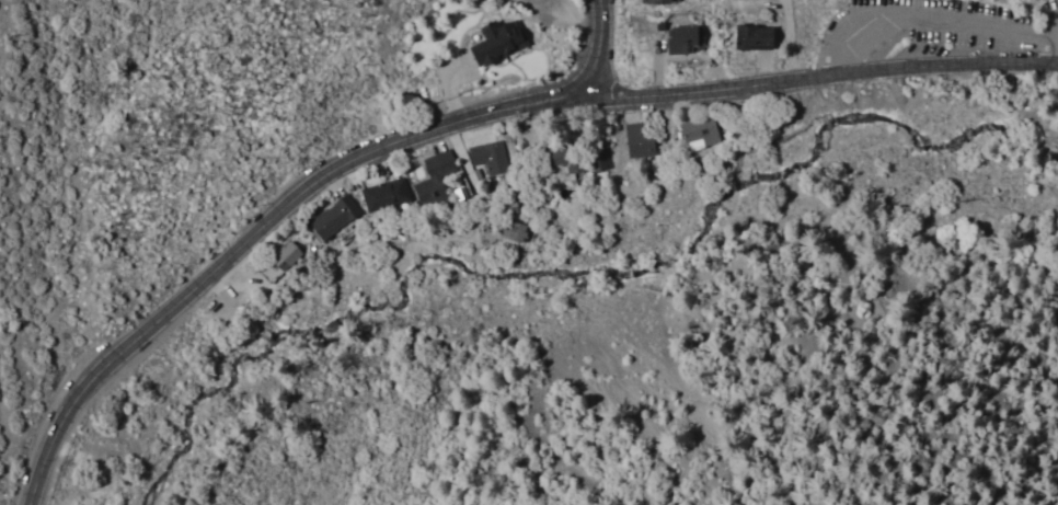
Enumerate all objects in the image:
building: (748, 0)
building: (764, 0)
building: (657, 1)
road: (576, 19)
road: (930, 22)
parking lot: (932, 33)
building: (749, 38)
building: (681, 41)
road: (789, 41)
building: (492, 43)
road: (1051, 43)
road: (701, 64)
road: (766, 70)
road: (660, 71)
road: (819, 78)
building: (999, 87)
road: (449, 90)
building: (1030, 97)
road: (626, 111)
road: (542, 124)
road: (438, 129)
building: (691, 130)
road: (511, 133)
road: (467, 139)
building: (631, 141)
road: (432, 142)
building: (484, 157)
building: (597, 158)
building: (562, 159)
road: (460, 162)
road: (380, 163)
road: (347, 175)
building: (428, 179)
road: (331, 184)
building: (378, 194)
building: (329, 216)
building: (510, 232)
building: (278, 257)
road: (239, 285)
road: (110, 364)

